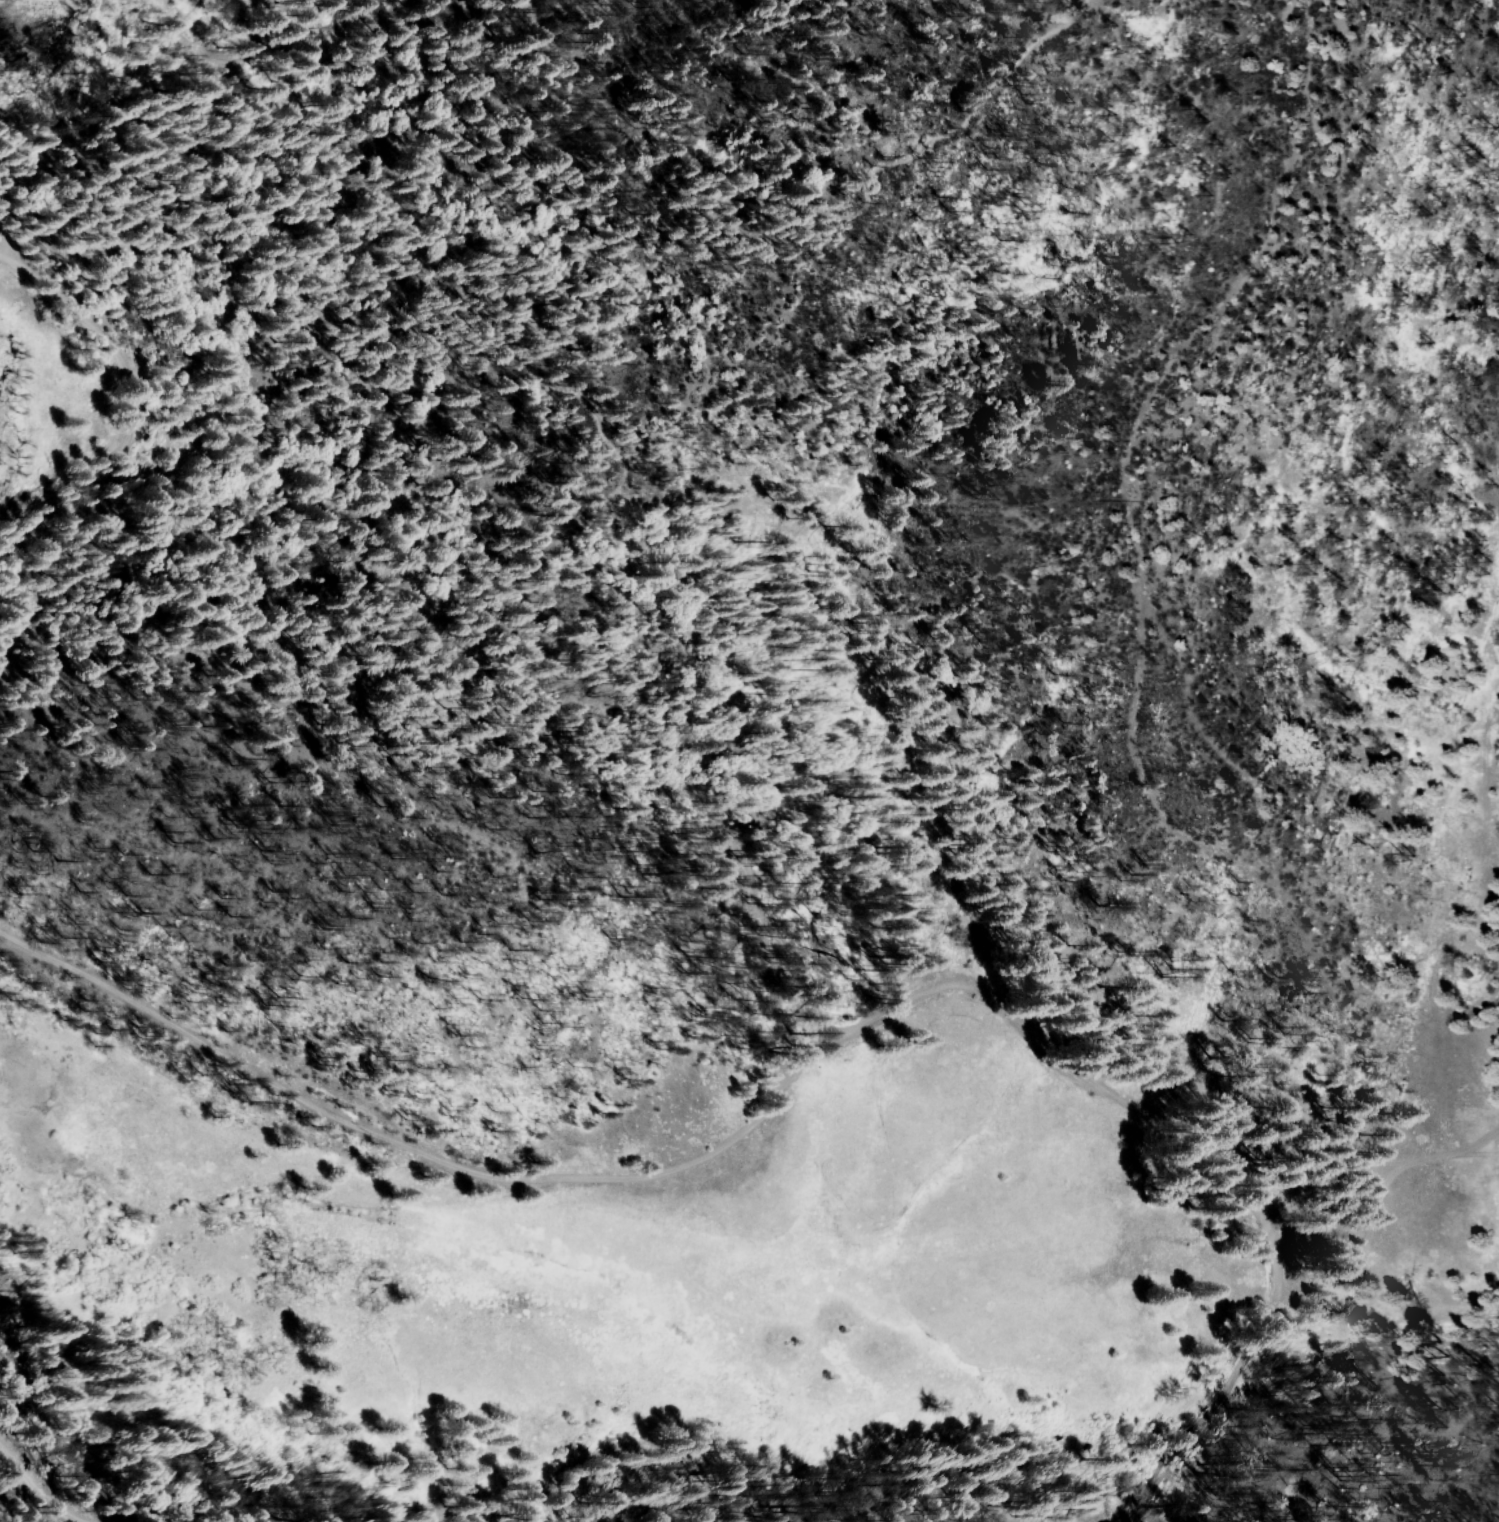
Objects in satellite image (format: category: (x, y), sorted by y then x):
road: (182, 31)
road: (260, 43)
road: (91, 327)
road: (818, 1042)
road: (1368, 1160)
road: (44, 1489)

